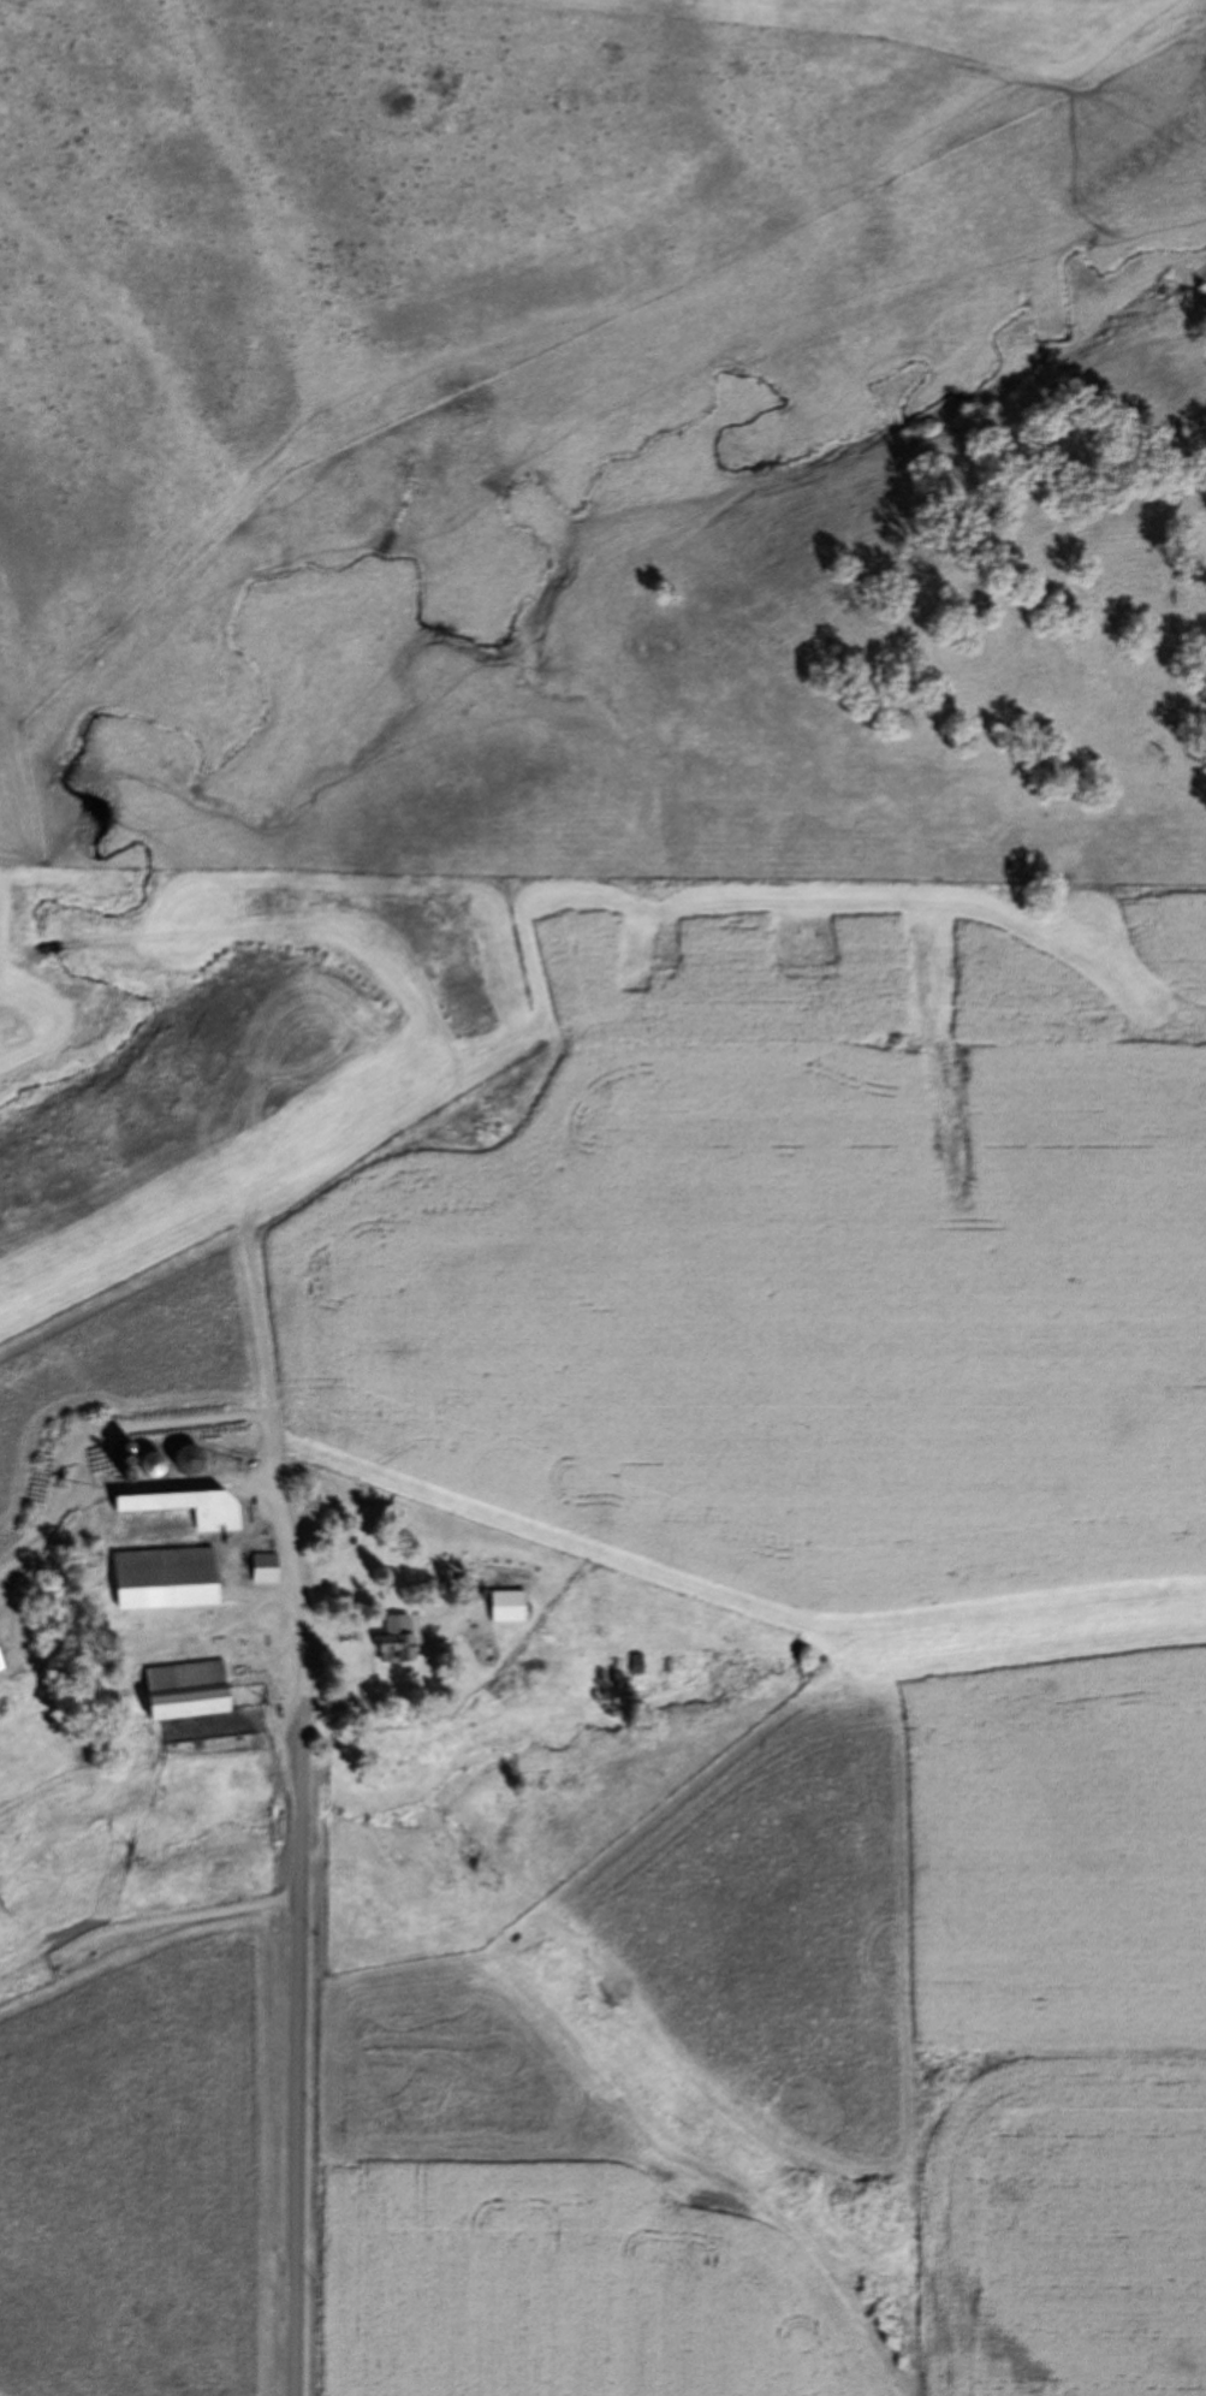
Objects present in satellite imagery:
building: (162, 1465)
building: (195, 1508)
building: (171, 1579)
building: (510, 1607)
building: (399, 1639)
building: (2, 1662)
building: (638, 1663)
building: (195, 1691)
road: (302, 1911)

